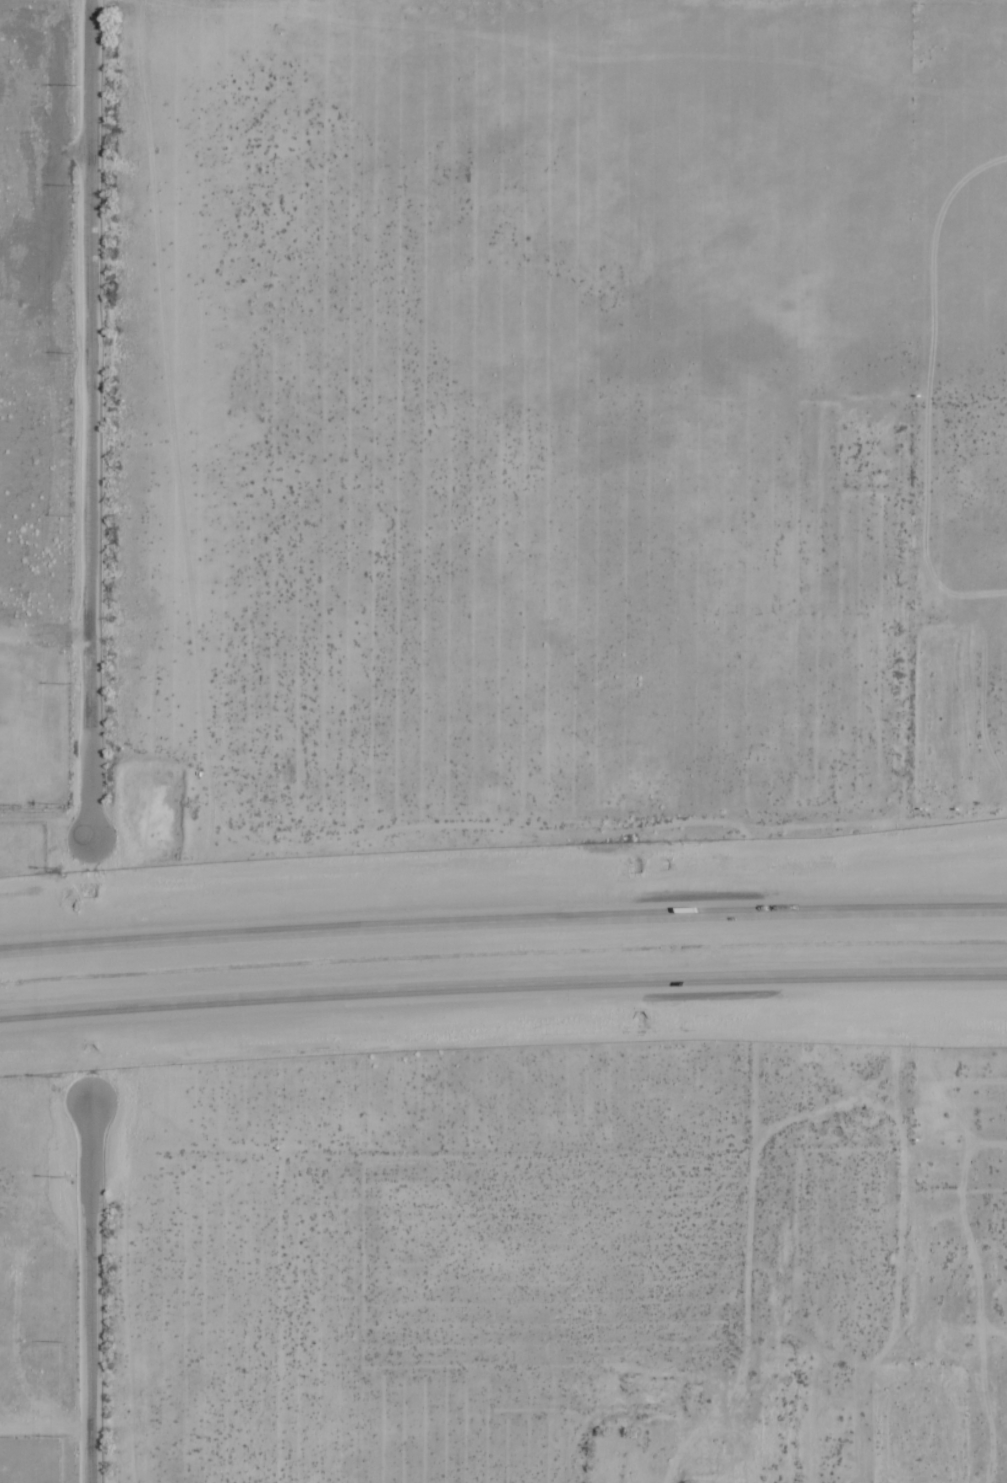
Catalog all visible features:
road: (88, 420)
road: (503, 920)
road: (503, 986)
road: (92, 1291)

